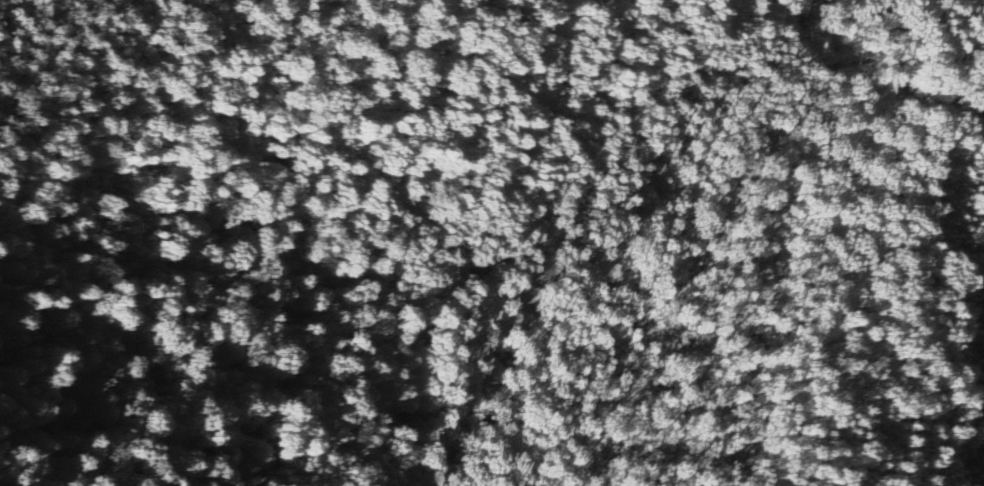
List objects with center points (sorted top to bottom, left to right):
road: (864, 81)

